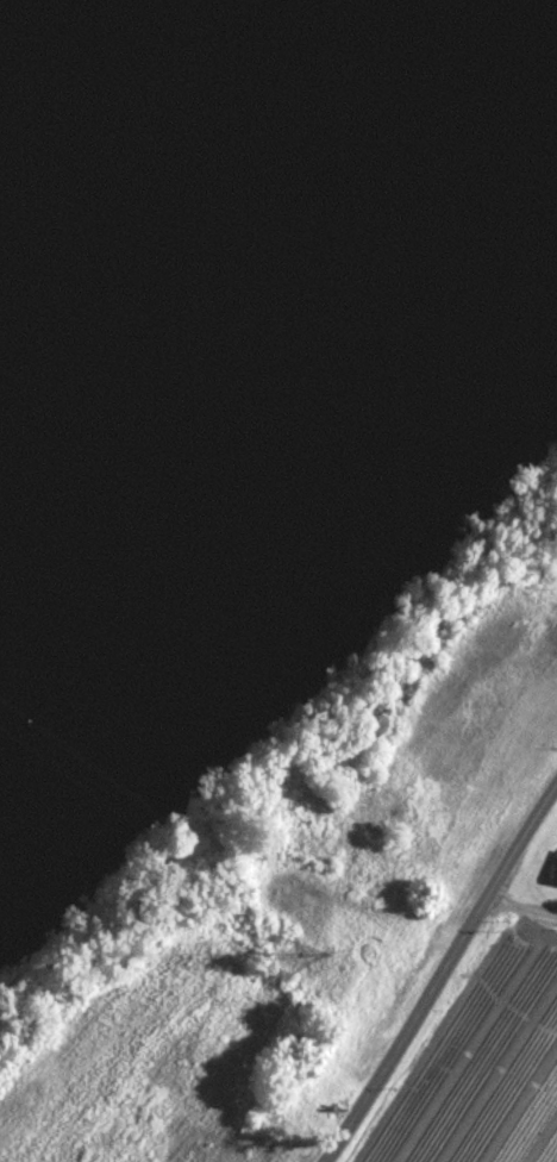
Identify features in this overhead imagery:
river: (140, 127)
building: (555, 875)
crop: (334, 916)
power tower: (290, 964)
road: (425, 1000)

